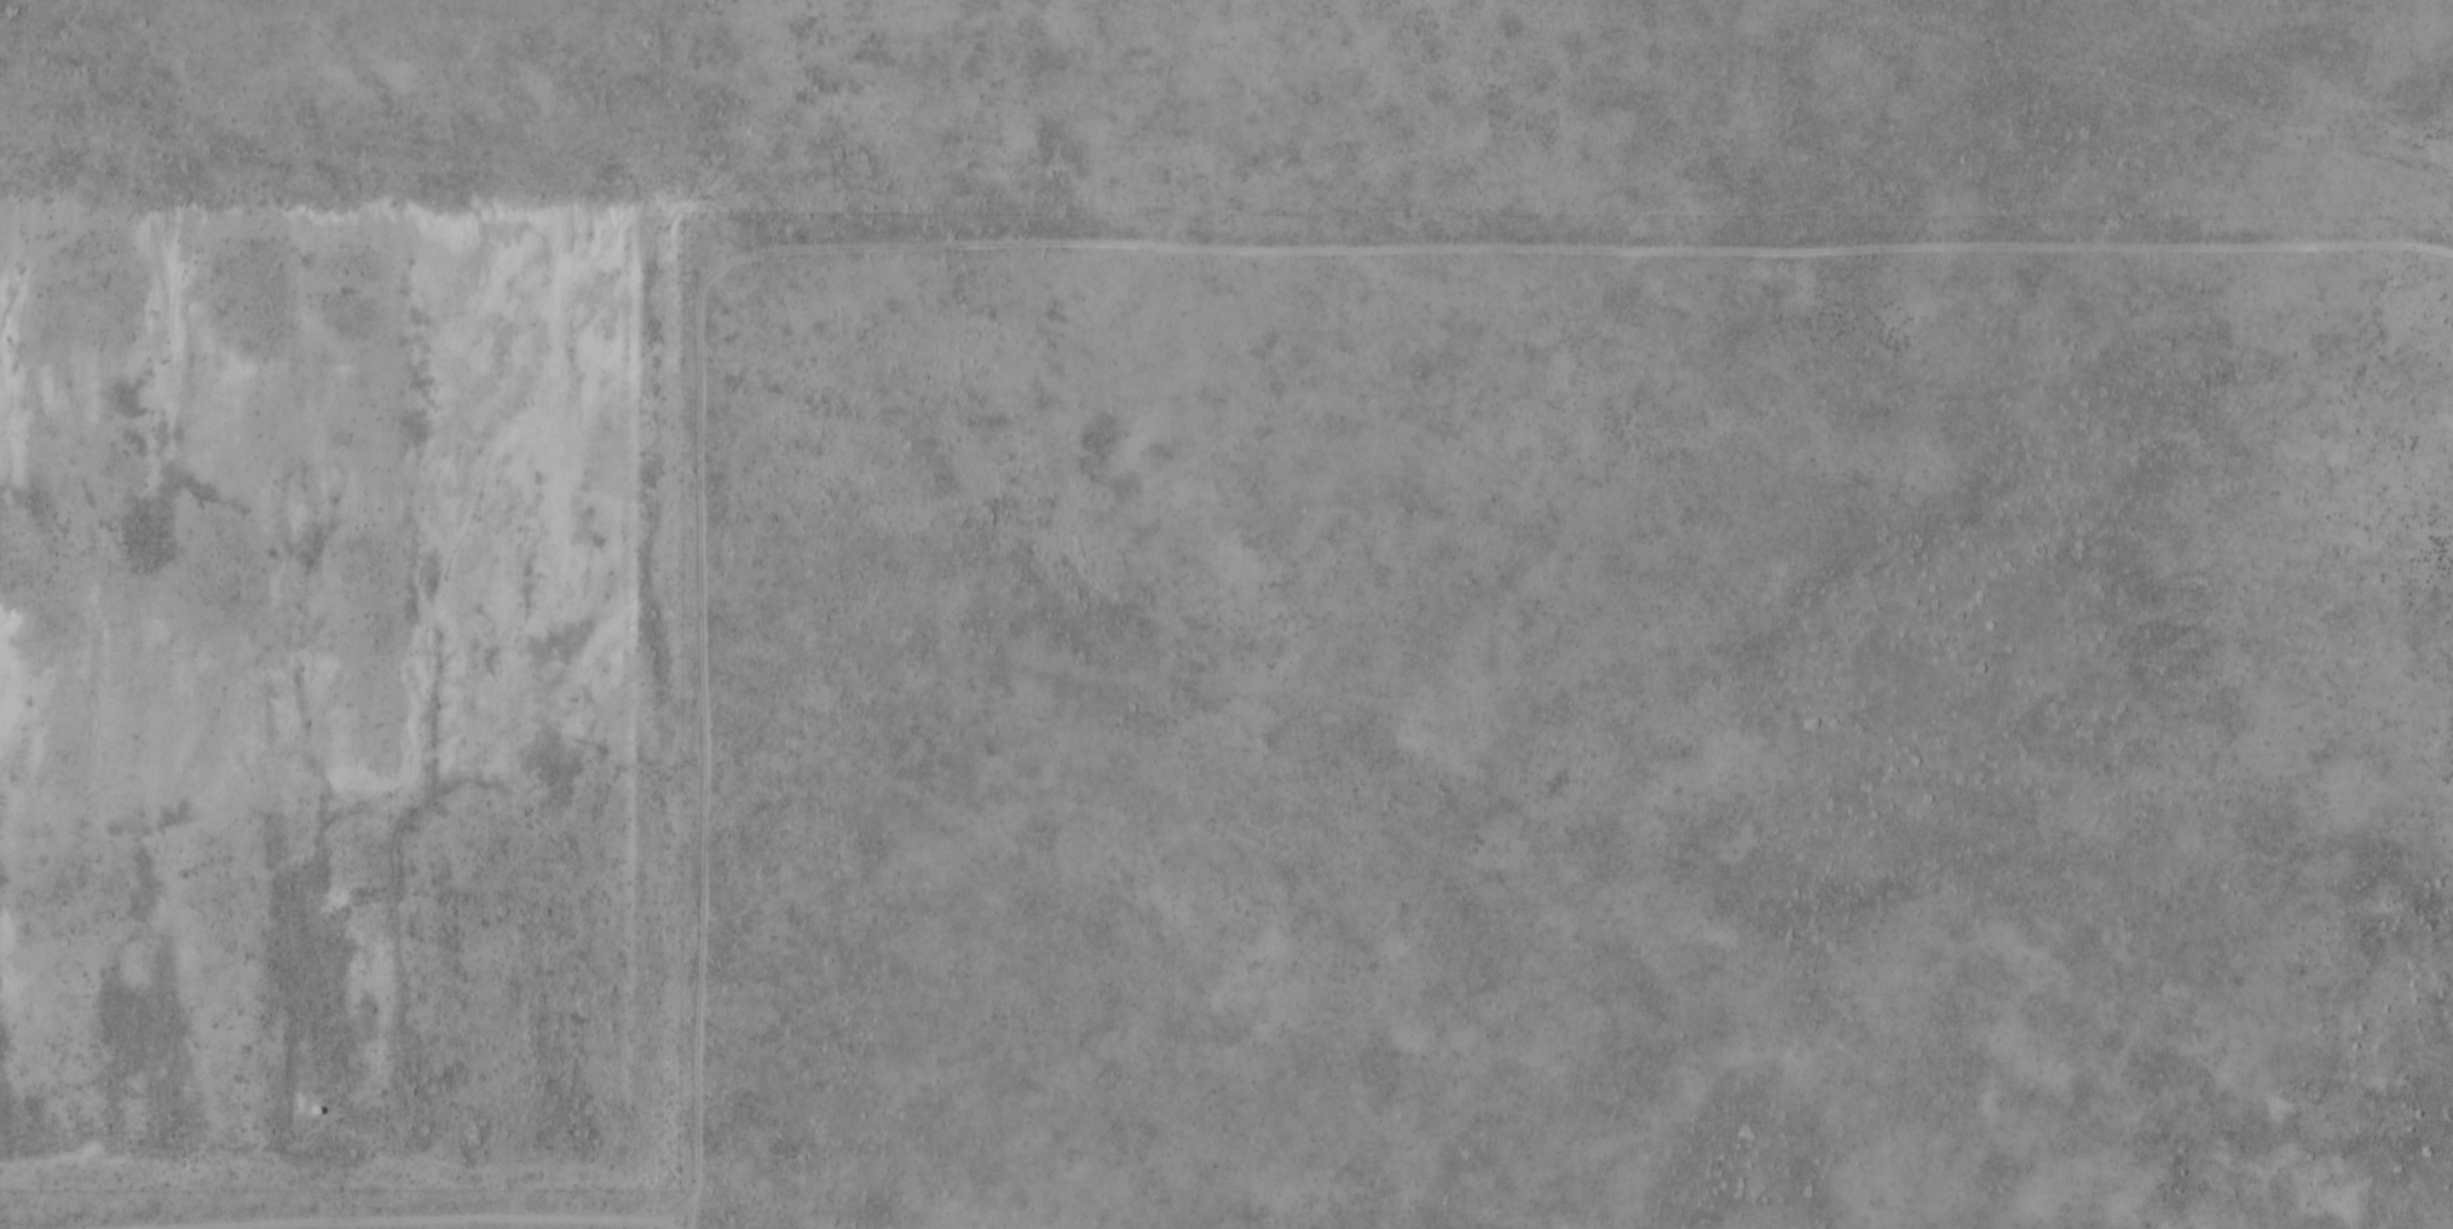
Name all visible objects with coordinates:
road: (2116, 103)
road: (1097, 243)
road: (340, 1222)

